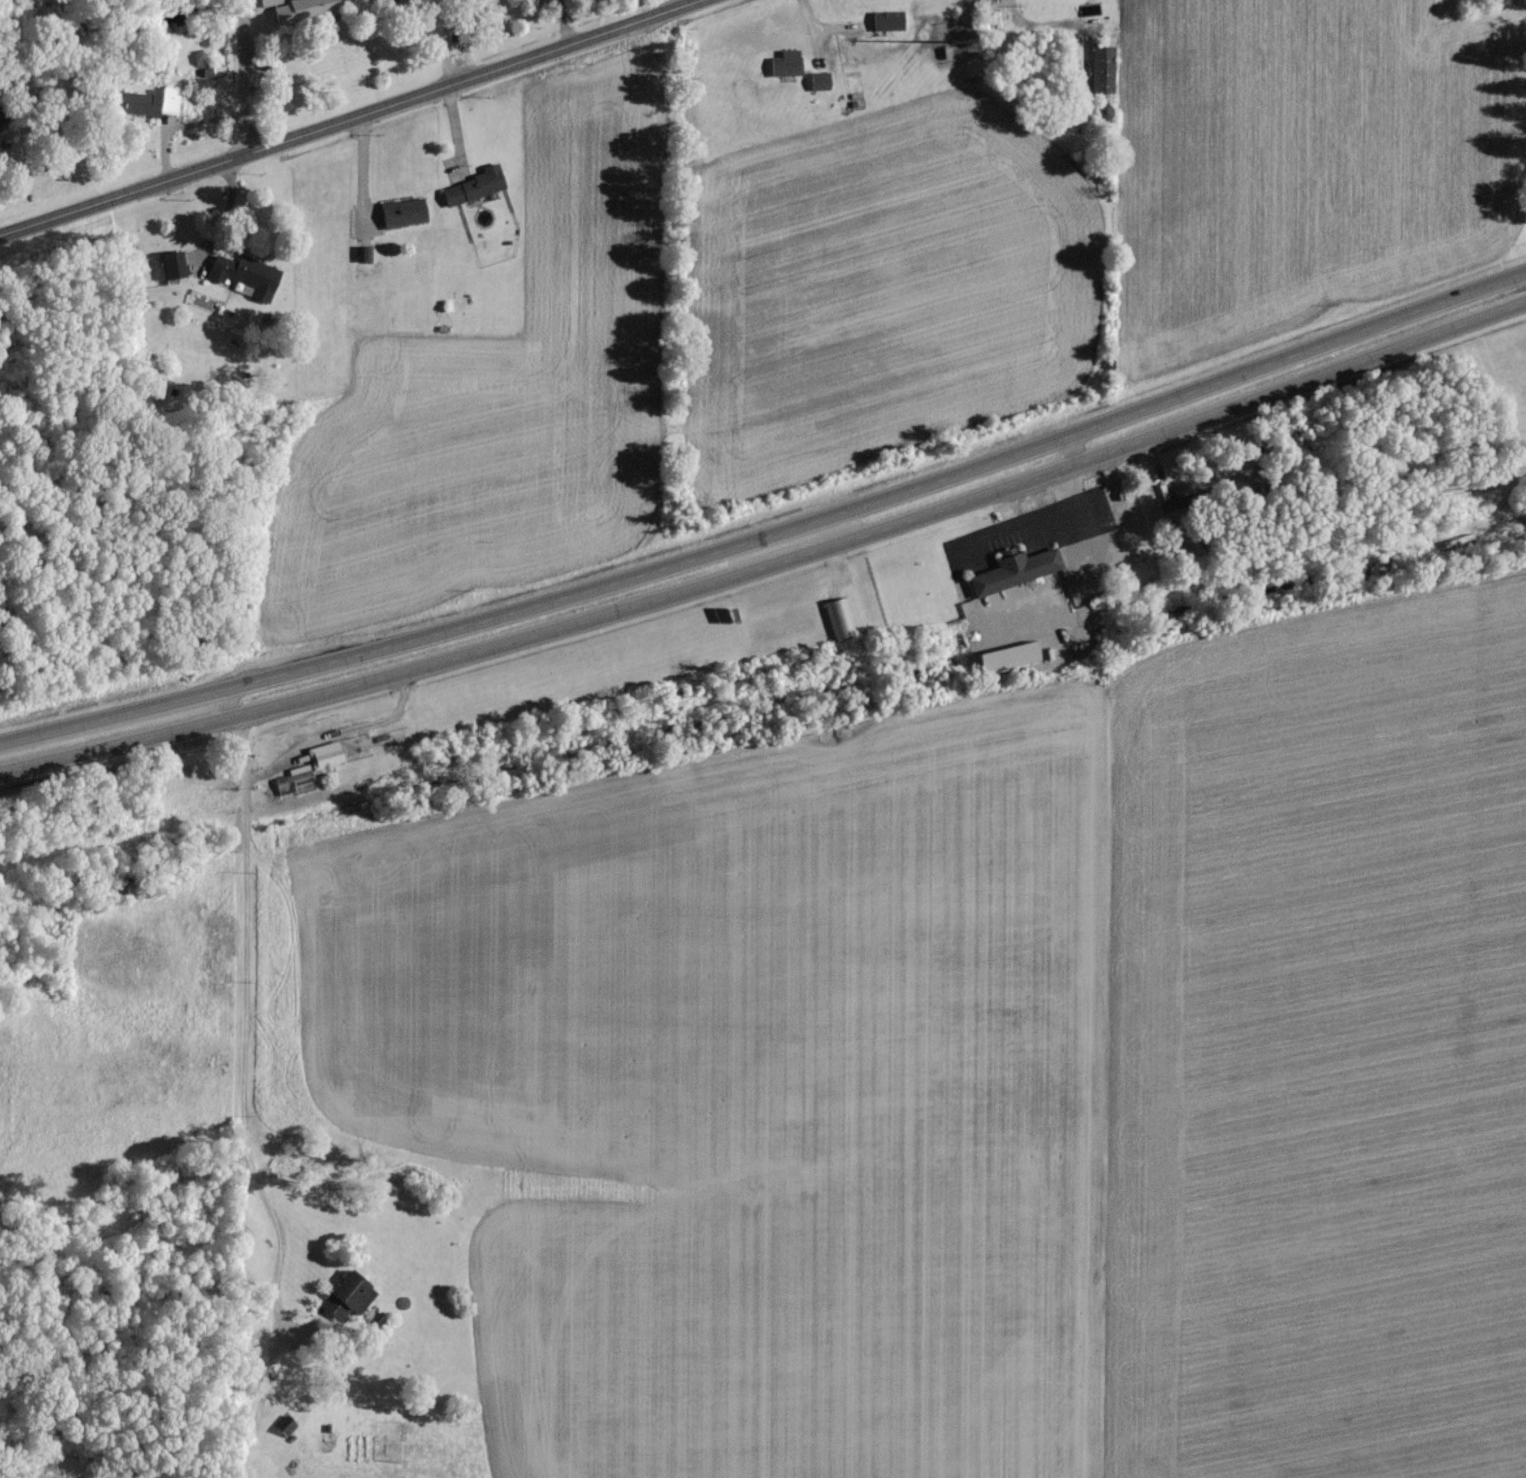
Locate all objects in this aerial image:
building: (388, 0)
building: (269, 2)
road: (672, 5)
building: (305, 10)
building: (889, 19)
road: (1041, 25)
road: (816, 38)
building: (787, 62)
building: (1103, 67)
road: (245, 78)
building: (820, 79)
building: (152, 100)
road: (352, 119)
road: (364, 182)
building: (476, 184)
building: (404, 211)
building: (174, 263)
building: (246, 274)
road: (1076, 444)
building: (1171, 508)
road: (771, 531)
road: (771, 558)
building: (1016, 569)
building: (1010, 655)
road: (227, 700)
building: (325, 753)
road: (216, 988)
road: (245, 1131)
building: (349, 1295)
building: (286, 1424)

